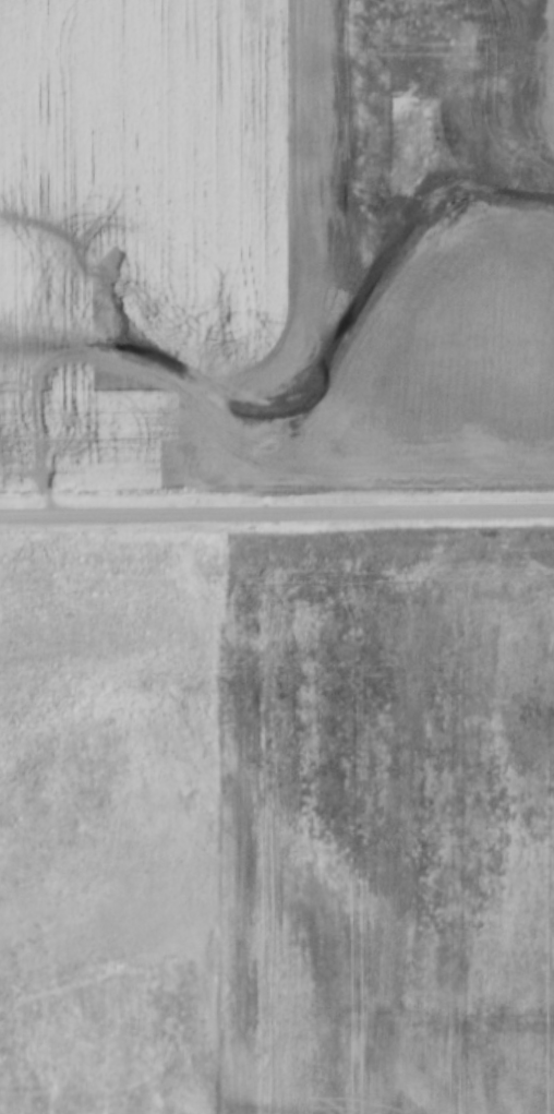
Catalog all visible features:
road: (48, 259)
road: (277, 514)

